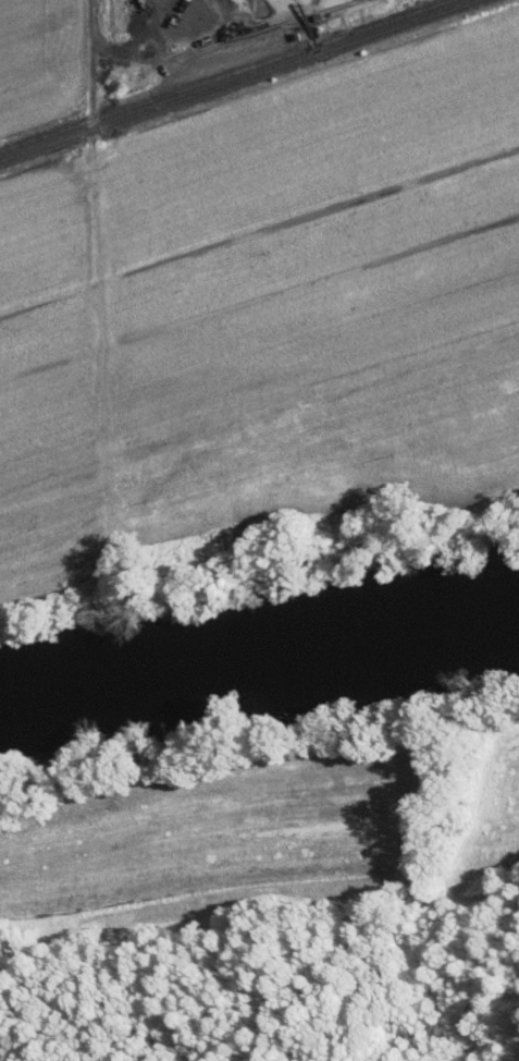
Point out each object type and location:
railway: (223, 75)
railway: (237, 78)
river: (260, 654)

